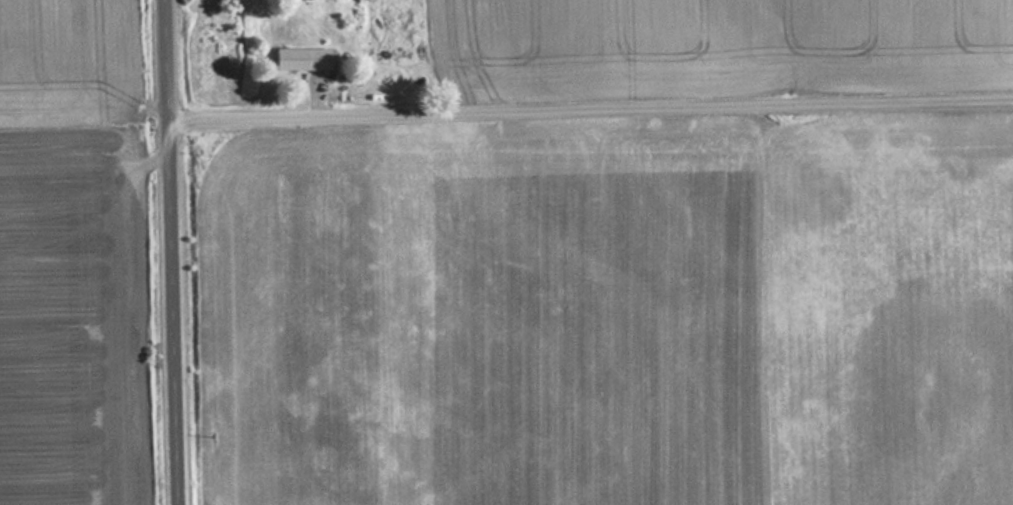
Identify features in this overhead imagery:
building: (302, 59)
road: (590, 117)
road: (171, 252)

